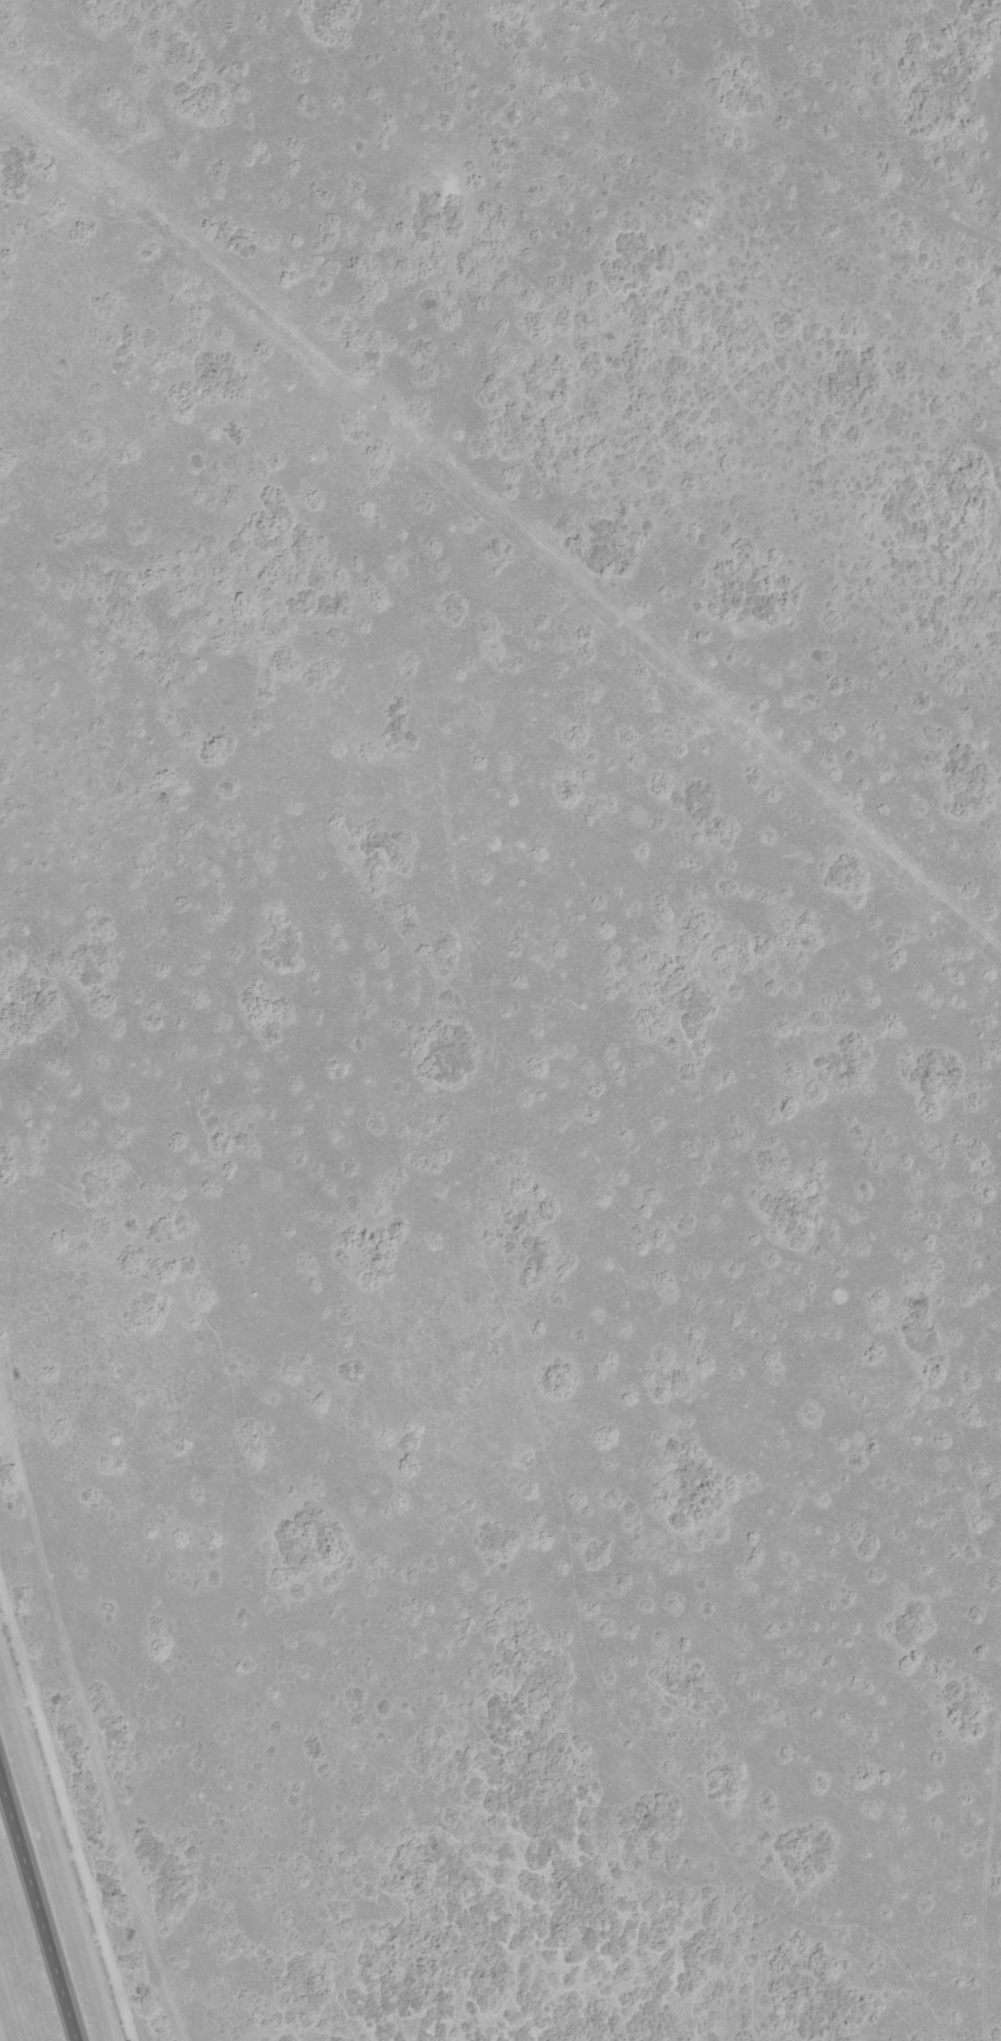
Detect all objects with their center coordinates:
road: (41, 1897)

